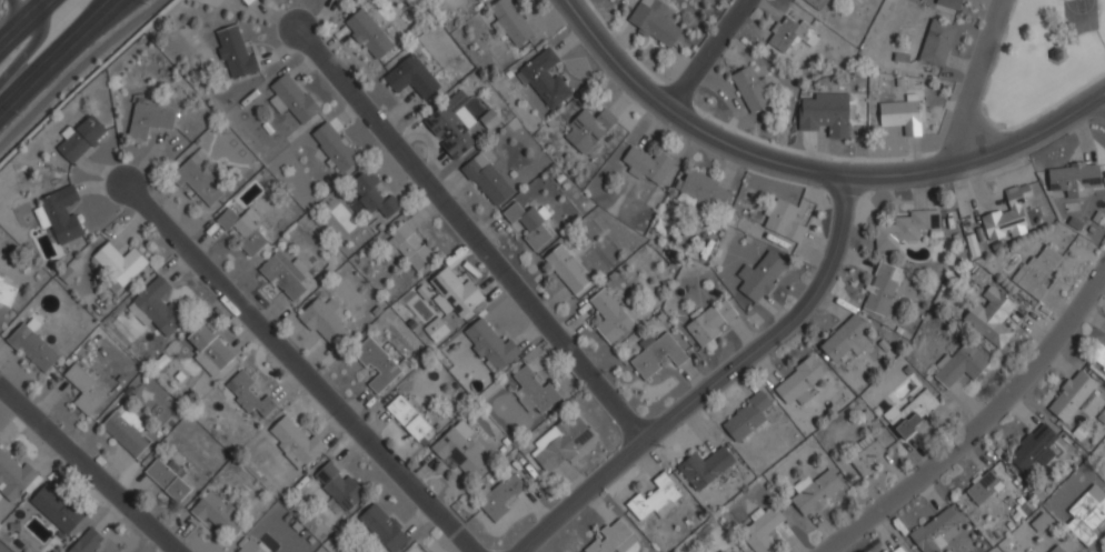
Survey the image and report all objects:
building: (339, 0)
building: (484, 0)
building: (486, 0)
building: (837, 0)
building: (839, 0)
building: (245, 2)
building: (816, 3)
building: (949, 3)
road: (19, 14)
park: (1078, 16)
building: (654, 21)
building: (509, 22)
road: (28, 26)
building: (367, 34)
building: (790, 34)
building: (936, 42)
road: (28, 48)
road: (51, 48)
building: (233, 51)
road: (706, 54)
park: (1044, 58)
building: (410, 78)
building: (545, 80)
road: (973, 82)
building: (750, 89)
road: (1104, 94)
building: (291, 99)
street lamp: (10, 107)
building: (825, 113)
building: (900, 116)
building: (488, 120)
building: (148, 121)
building: (450, 124)
building: (587, 129)
building: (80, 139)
building: (334, 147)
building: (647, 164)
road: (816, 173)
building: (198, 179)
building: (486, 180)
building: (1072, 181)
building: (703, 189)
building: (371, 194)
building: (61, 214)
building: (1007, 214)
building: (782, 221)
building: (529, 223)
building: (905, 229)
building: (241, 230)
road: (469, 233)
building: (409, 247)
building: (119, 264)
building: (566, 269)
building: (1037, 270)
building: (285, 274)
building: (760, 277)
building: (882, 289)
building: (7, 290)
building: (452, 292)
building: (158, 307)
building: (608, 317)
building: (995, 319)
building: (323, 322)
building: (711, 322)
building: (436, 329)
building: (845, 338)
building: (490, 347)
building: (32, 348)
building: (209, 350)
building: (657, 355)
building: (1098, 358)
building: (376, 364)
building: (960, 364)
road: (298, 369)
road: (709, 382)
building: (798, 383)
building: (84, 390)
building: (532, 391)
building: (247, 394)
building: (1071, 397)
building: (910, 414)
building: (745, 418)
building: (408, 419)
road: (986, 426)
building: (125, 431)
building: (292, 442)
building: (560, 444)
building: (1033, 448)
building: (458, 452)
building: (866, 454)
building: (704, 468)
road: (87, 470)
building: (14, 476)
building: (168, 479)
building: (338, 485)
building: (983, 488)
building: (815, 492)
building: (499, 498)
building: (655, 500)
building: (54, 509)
building: (217, 514)
building: (1087, 514)
building: (1041, 523)
building: (382, 528)
building: (760, 529)
building: (936, 530)
building: (609, 539)
building: (87, 542)
building: (251, 546)
building: (896, 549)
building: (1056, 549)
building: (729, 550)
building: (721, 551)
building: (885, 551)
building: (1033, 551)

